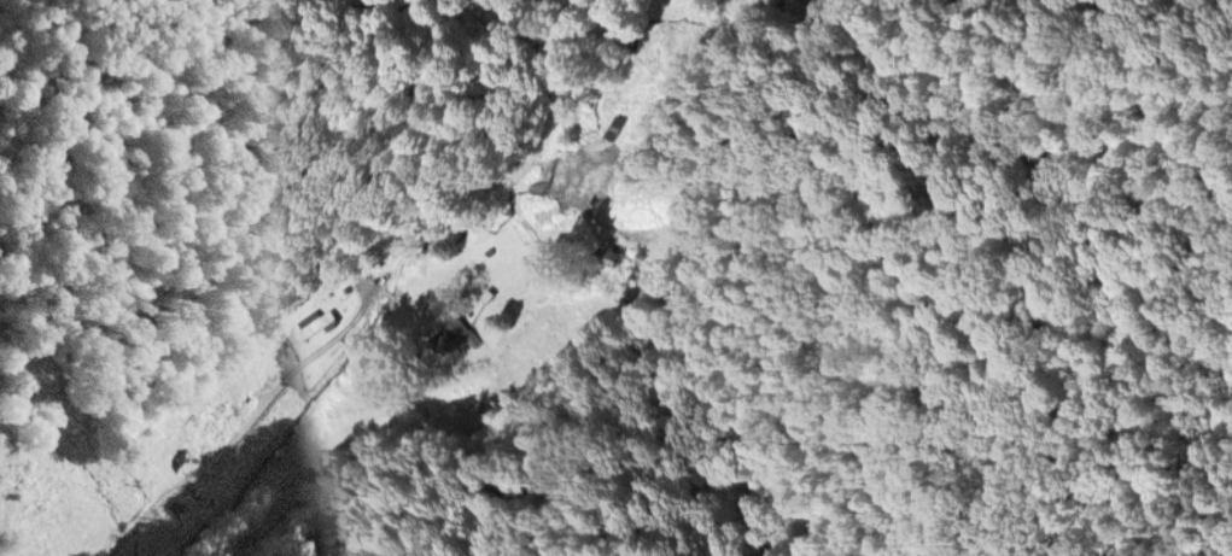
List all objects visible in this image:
building: (615, 124)
building: (609, 254)
building: (486, 293)
building: (316, 322)
building: (455, 333)
road: (241, 421)

